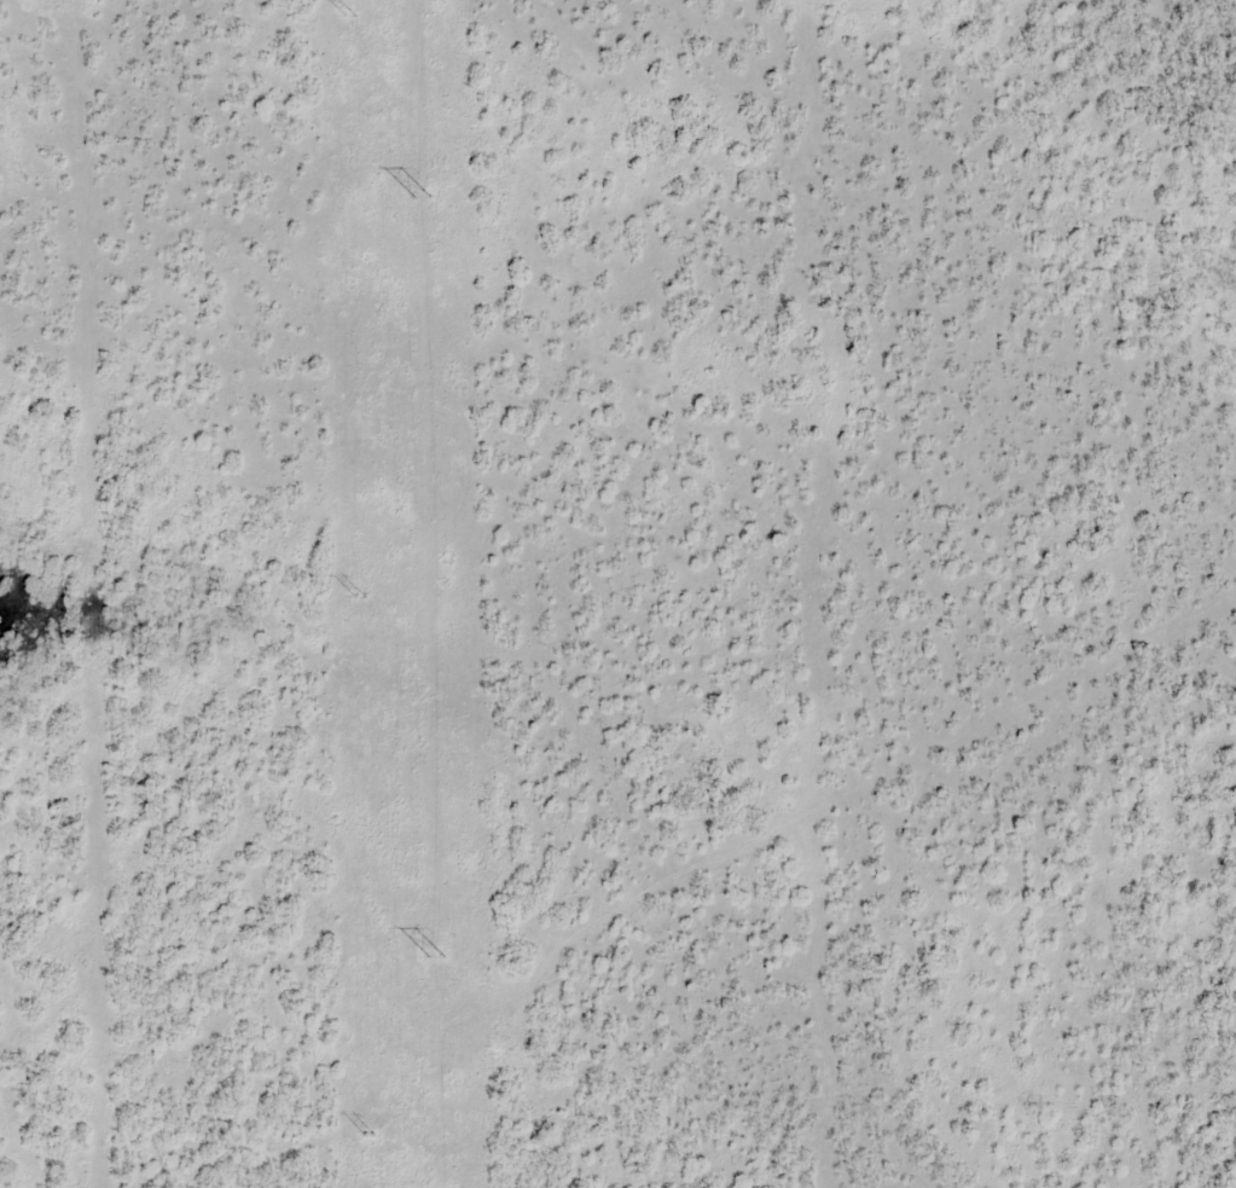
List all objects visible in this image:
power tower: (349, 16)
power tower: (423, 198)
power tower: (360, 598)
power tower: (436, 957)
power tower: (370, 1136)

